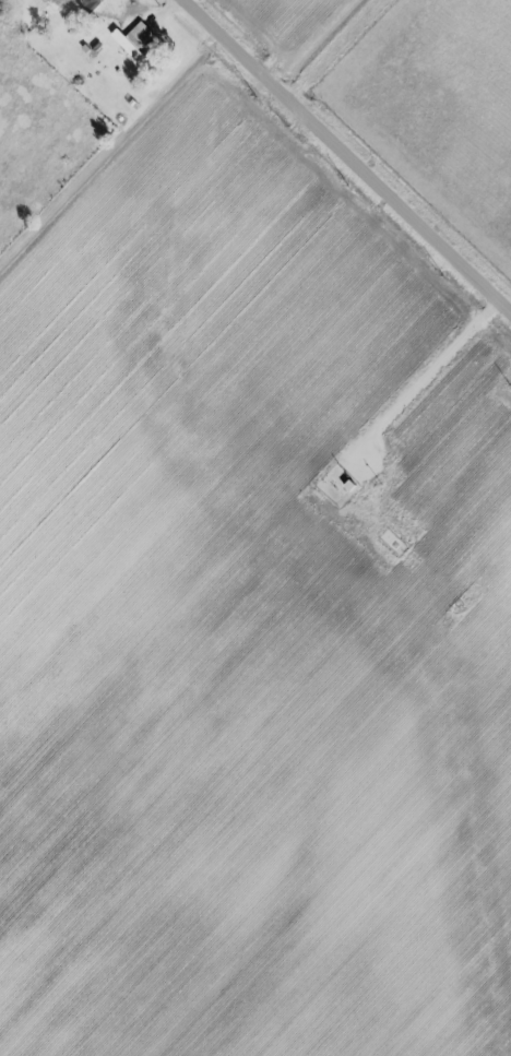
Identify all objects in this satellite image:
building: (86, 4)
building: (132, 41)
road: (347, 156)
road: (426, 375)

